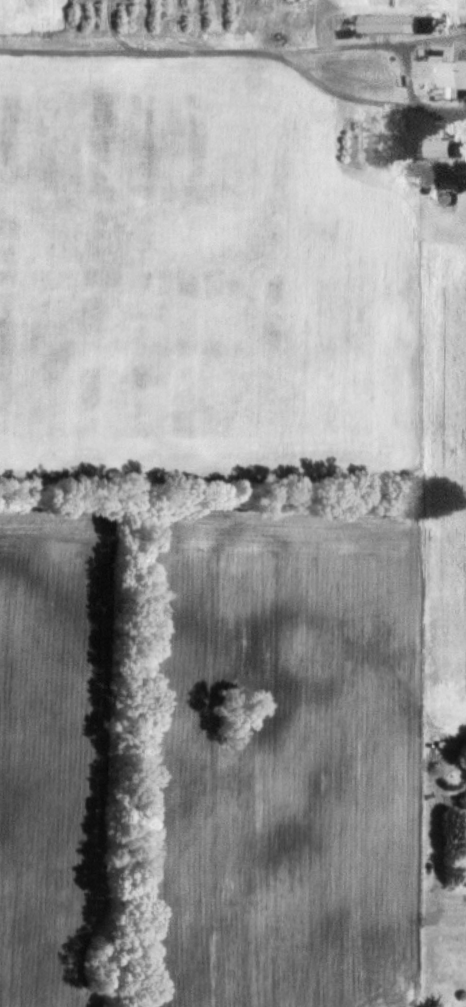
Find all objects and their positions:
building: (393, 24)
road: (288, 51)
building: (452, 76)
road: (436, 116)
building: (435, 149)
building: (450, 178)
building: (461, 791)

